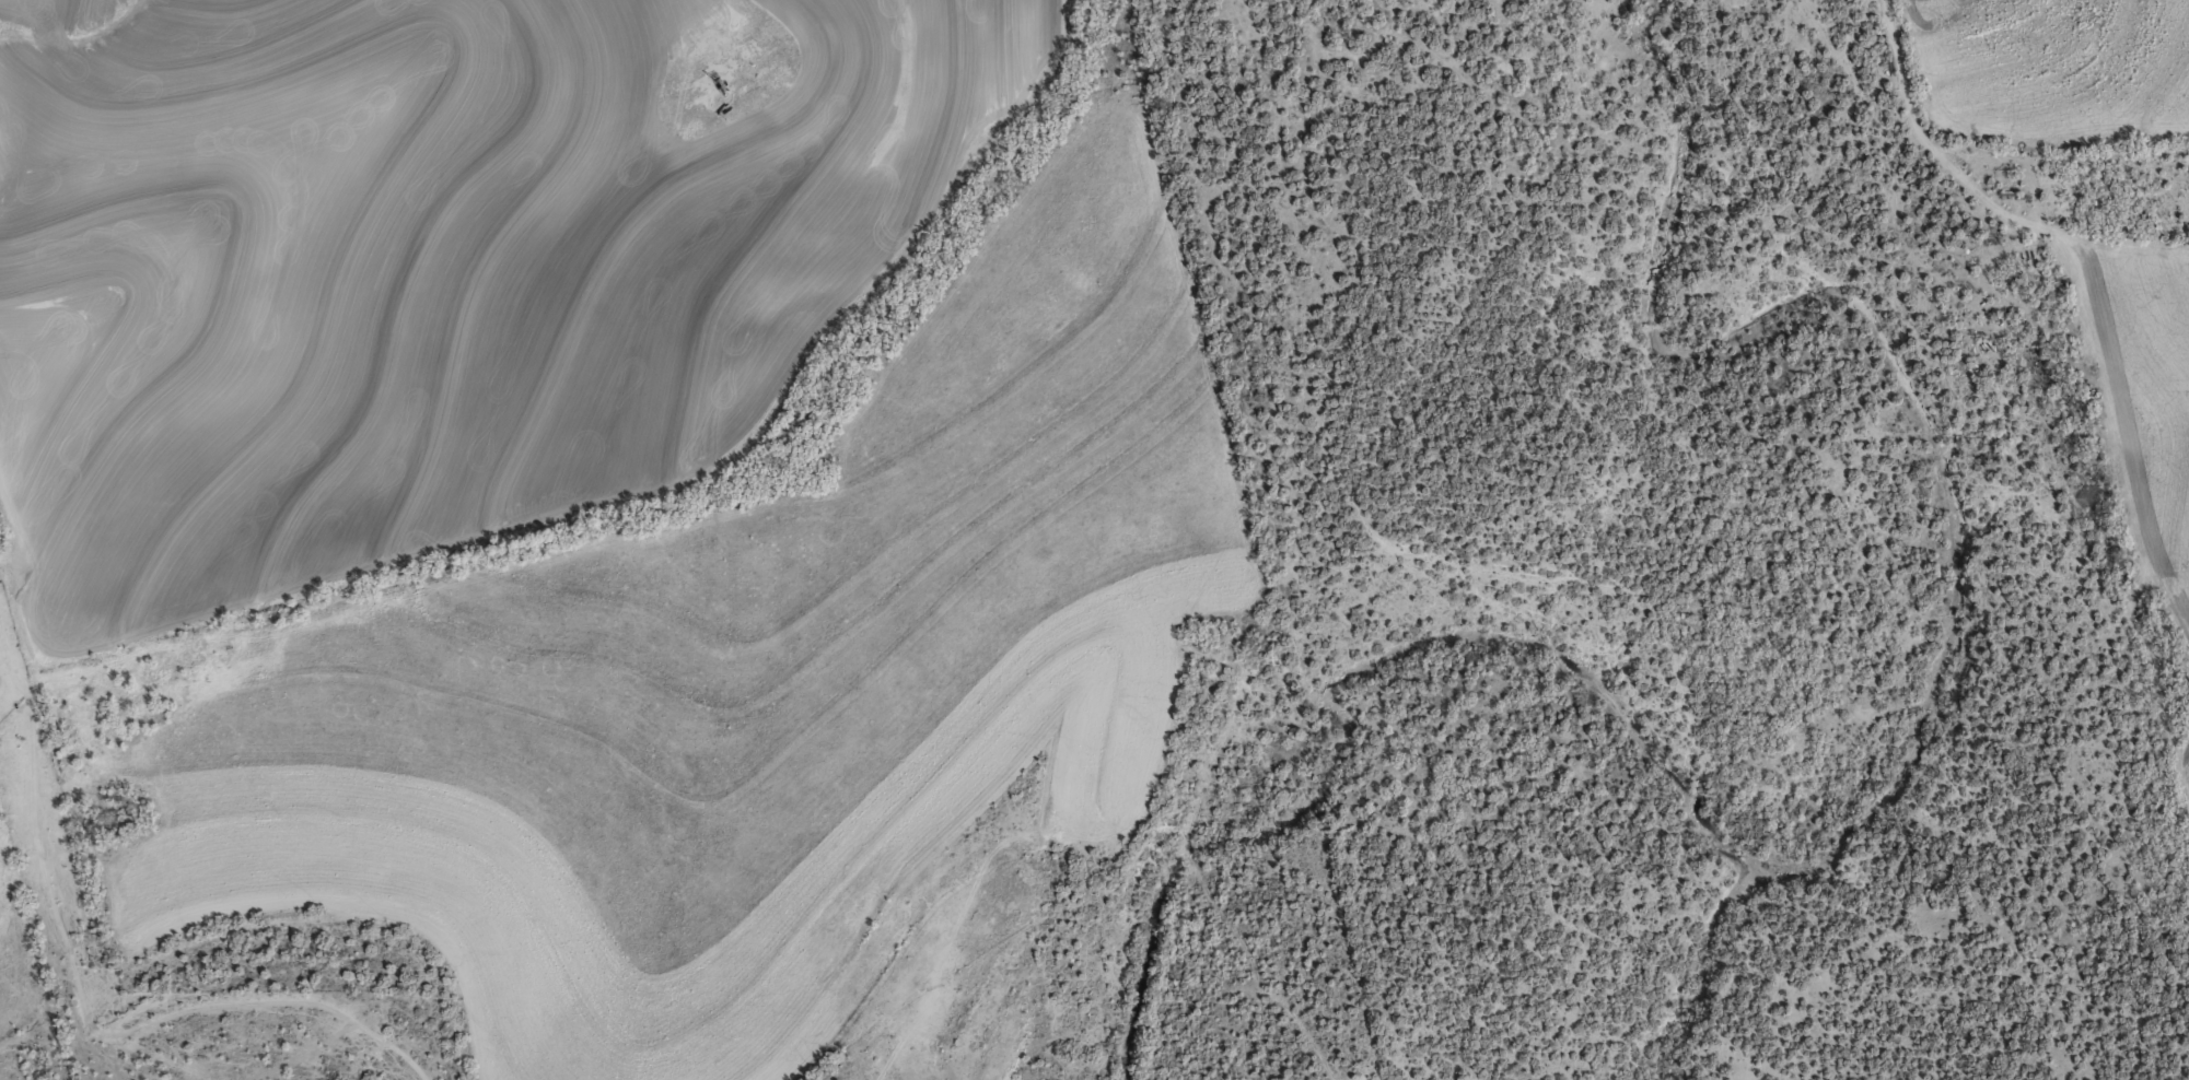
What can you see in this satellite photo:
road: (188, 960)

